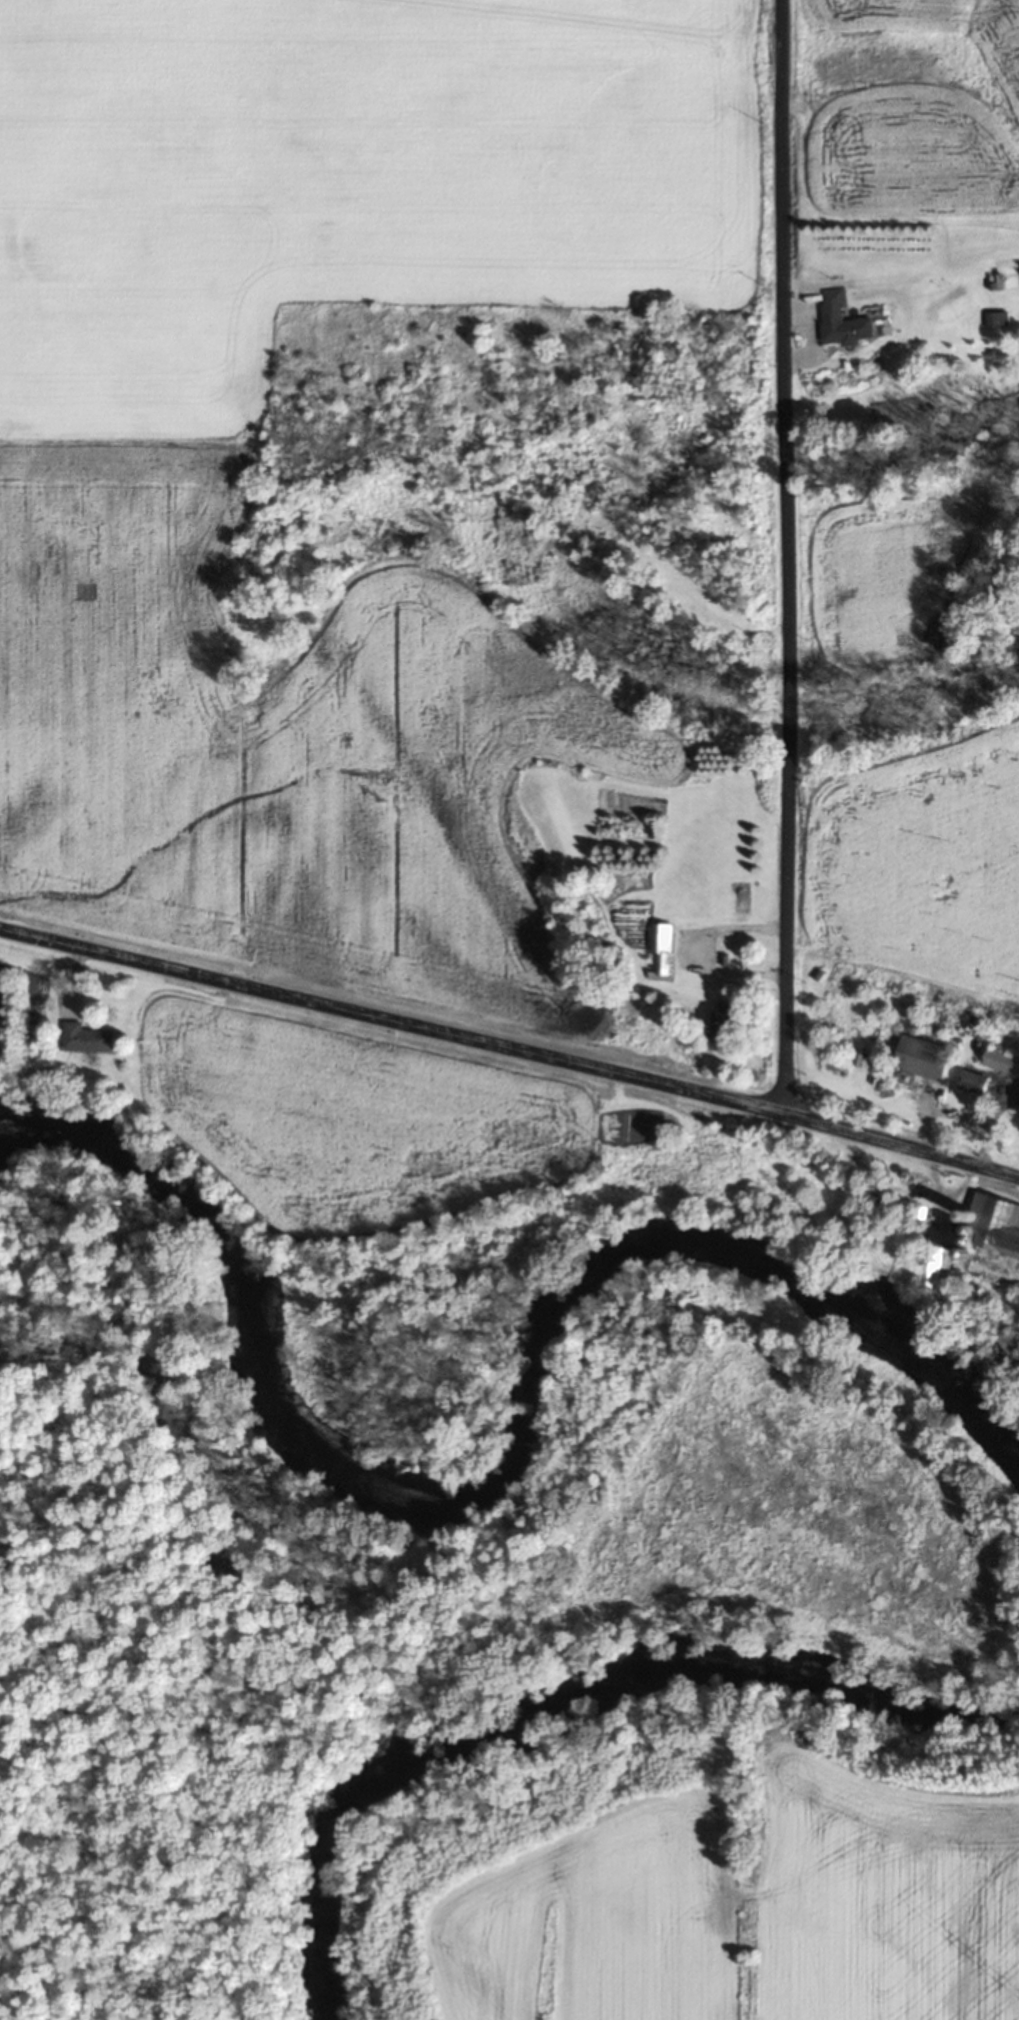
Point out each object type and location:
building: (991, 318)
building: (842, 327)
road: (787, 557)
building: (662, 950)
building: (724, 1019)
building: (86, 1037)
road: (510, 1049)
building: (922, 1057)
building: (1001, 1059)
building: (972, 1081)
building: (1003, 1228)
building: (941, 1268)
building: (1003, 1347)
river: (516, 1467)
river: (559, 1689)

